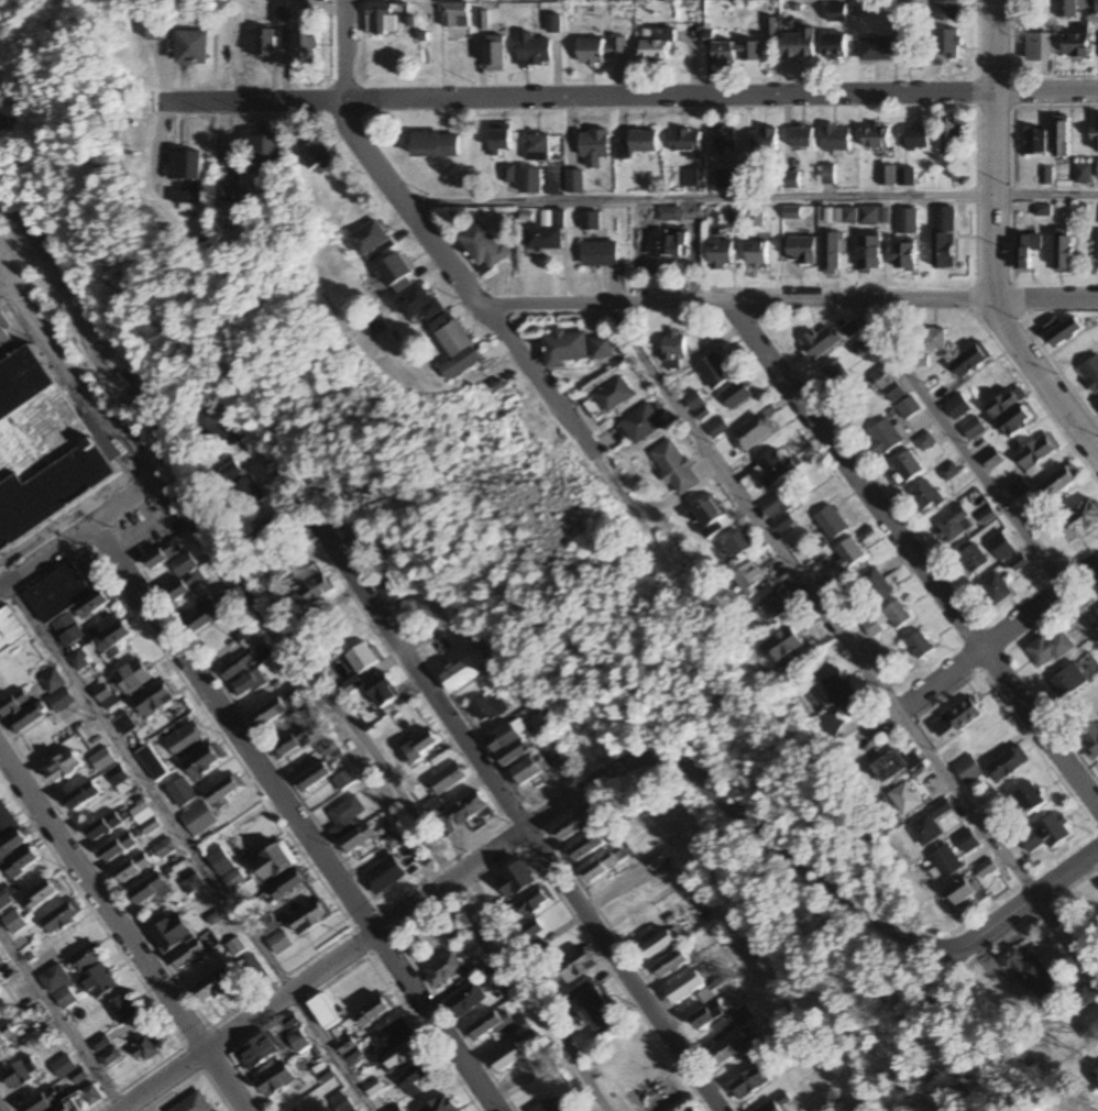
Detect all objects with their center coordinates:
building: (1096, 5)
building: (1066, 9)
building: (946, 11)
building: (836, 13)
building: (454, 15)
building: (383, 19)
building: (156, 31)
building: (1076, 44)
building: (261, 45)
building: (305, 45)
building: (799, 45)
building: (946, 45)
building: (834, 46)
building: (1037, 47)
building: (191, 48)
building: (659, 48)
building: (909, 48)
building: (876, 50)
building: (601, 51)
building: (534, 52)
building: (493, 54)
building: (723, 55)
road: (632, 97)
building: (1096, 135)
building: (1062, 136)
building: (953, 137)
building: (802, 139)
building: (836, 139)
building: (877, 139)
building: (918, 139)
building: (726, 140)
building: (499, 141)
building: (764, 142)
building: (638, 143)
building: (687, 143)
building: (1037, 143)
building: (433, 145)
building: (537, 148)
building: (594, 148)
building: (316, 156)
building: (266, 157)
building: (184, 167)
building: (1084, 174)
building: (887, 176)
building: (907, 177)
building: (573, 179)
building: (529, 183)
road: (749, 199)
building: (671, 213)
building: (846, 216)
building: (869, 216)
building: (590, 221)
building: (908, 222)
building: (546, 234)
building: (944, 239)
building: (371, 240)
road: (992, 242)
building: (668, 243)
building: (481, 246)
building: (801, 251)
building: (1064, 251)
building: (1028, 252)
building: (600, 253)
building: (757, 253)
building: (721, 254)
building: (831, 254)
building: (869, 254)
building: (905, 255)
road: (448, 272)
building: (395, 273)
road: (782, 299)
building: (418, 305)
building: (854, 328)
building: (1065, 331)
building: (934, 339)
building: (820, 343)
building: (863, 346)
building: (455, 348)
building: (566, 348)
building: (602, 348)
building: (673, 349)
building: (971, 360)
building: (714, 370)
building: (1090, 372)
building: (837, 375)
building: (890, 384)
building: (737, 394)
building: (608, 397)
building: (1007, 402)
building: (958, 407)
building: (908, 408)
building: (1019, 420)
building: (640, 424)
building: (716, 428)
building: (974, 428)
building: (755, 431)
building: (883, 437)
building: (925, 442)
building: (43, 448)
building: (1037, 453)
building: (992, 459)
building: (908, 465)
road: (976, 466)
building: (676, 468)
building: (769, 471)
building: (949, 472)
building: (1061, 482)
building: (241, 484)
building: (1019, 487)
building: (925, 496)
building: (779, 510)
building: (707, 516)
building: (988, 517)
building: (1084, 517)
building: (831, 522)
building: (954, 524)
building: (353, 533)
road: (91, 535)
building: (738, 543)
building: (1001, 546)
building: (163, 554)
building: (848, 554)
building: (973, 558)
road: (912, 560)
building: (275, 570)
building: (183, 579)
building: (750, 579)
building: (874, 585)
building: (396, 587)
building: (996, 588)
building: (315, 591)
road: (815, 599)
building: (58, 602)
building: (91, 604)
building: (776, 605)
building: (1096, 610)
building: (888, 617)
building: (202, 618)
building: (10, 629)
building: (248, 637)
building: (112, 639)
building: (782, 642)
building: (920, 645)
road: (978, 646)
building: (1050, 649)
building: (362, 658)
road: (307, 659)
building: (78, 661)
building: (237, 665)
building: (465, 671)
building: (132, 676)
building: (1068, 680)
building: (51, 682)
building: (248, 683)
building: (351, 685)
building: (839, 690)
building: (384, 693)
building: (105, 696)
building: (156, 700)
building: (61, 701)
building: (13, 705)
building: (274, 711)
building: (484, 711)
building: (26, 719)
building: (124, 724)
building: (1090, 737)
building: (184, 740)
road: (483, 741)
building: (292, 744)
building: (507, 745)
building: (421, 746)
building: (329, 749)
building: (553, 752)
building: (101, 760)
building: (202, 762)
building: (151, 763)
building: (1009, 763)
building: (888, 766)
building: (63, 767)
building: (528, 769)
building: (968, 770)
building: (314, 776)
building: (447, 778)
building: (120, 780)
building: (343, 781)
building: (222, 793)
building: (81, 796)
building: (905, 798)
building: (1030, 799)
building: (432, 807)
building: (468, 809)
building: (343, 816)
building: (198, 818)
road: (300, 818)
building: (6, 821)
building: (578, 824)
building: (930, 825)
building: (103, 826)
building: (443, 826)
building: (1045, 835)
building: (356, 838)
building: (393, 842)
building: (967, 842)
building: (10, 844)
building: (586, 846)
building: (118, 847)
building: (164, 848)
road: (187, 850)
building: (273, 861)
building: (656, 861)
building: (946, 862)
building: (21, 864)
building: (605, 865)
building: (132, 868)
building: (987, 869)
building: (515, 880)
building: (191, 883)
building: (287, 883)
building: (964, 889)
building: (149, 890)
building: (40, 895)
building: (4, 899)
building: (534, 901)
road: (852, 904)
building: (61, 915)
building: (310, 917)
building: (13, 922)
building: (265, 925)
building: (528, 931)
road: (122, 933)
building: (171, 933)
road: (375, 936)
road: (1066, 941)
building: (662, 942)
building: (278, 943)
building: (187, 955)
building: (83, 959)
building: (0, 963)
building: (670, 965)
building: (575, 967)
building: (253, 969)
building: (442, 970)
building: (1029, 974)
building: (98, 981)
building: (215, 985)
building: (57, 986)
building: (683, 987)
building: (712, 990)
building: (1083, 996)
building: (464, 1001)
building: (121, 1009)
building: (594, 1009)
building: (374, 1011)
building: (323, 1012)
building: (710, 1014)
building: (742, 1016)
road: (62, 1020)
building: (1088, 1025)
building: (498, 1026)
building: (392, 1034)
building: (7, 1036)
building: (297, 1042)
building: (98, 1044)
building: (142, 1048)
building: (726, 1050)
building: (256, 1052)
building: (349, 1052)
building: (400, 1055)
building: (108, 1057)
building: (518, 1063)
building: (64, 1068)
building: (20, 1074)
building: (416, 1076)
building: (1094, 1077)
building: (275, 1082)
building: (748, 1083)
building: (373, 1089)
building: (90, 1096)
building: (41, 1101)
building: (193, 1103)
building: (339, 1103)
building: (440, 1104)
building: (545, 1107)
building: (771, 1107)
building: (62, 1109)
building: (296, 1110)
building: (692, 1110)

